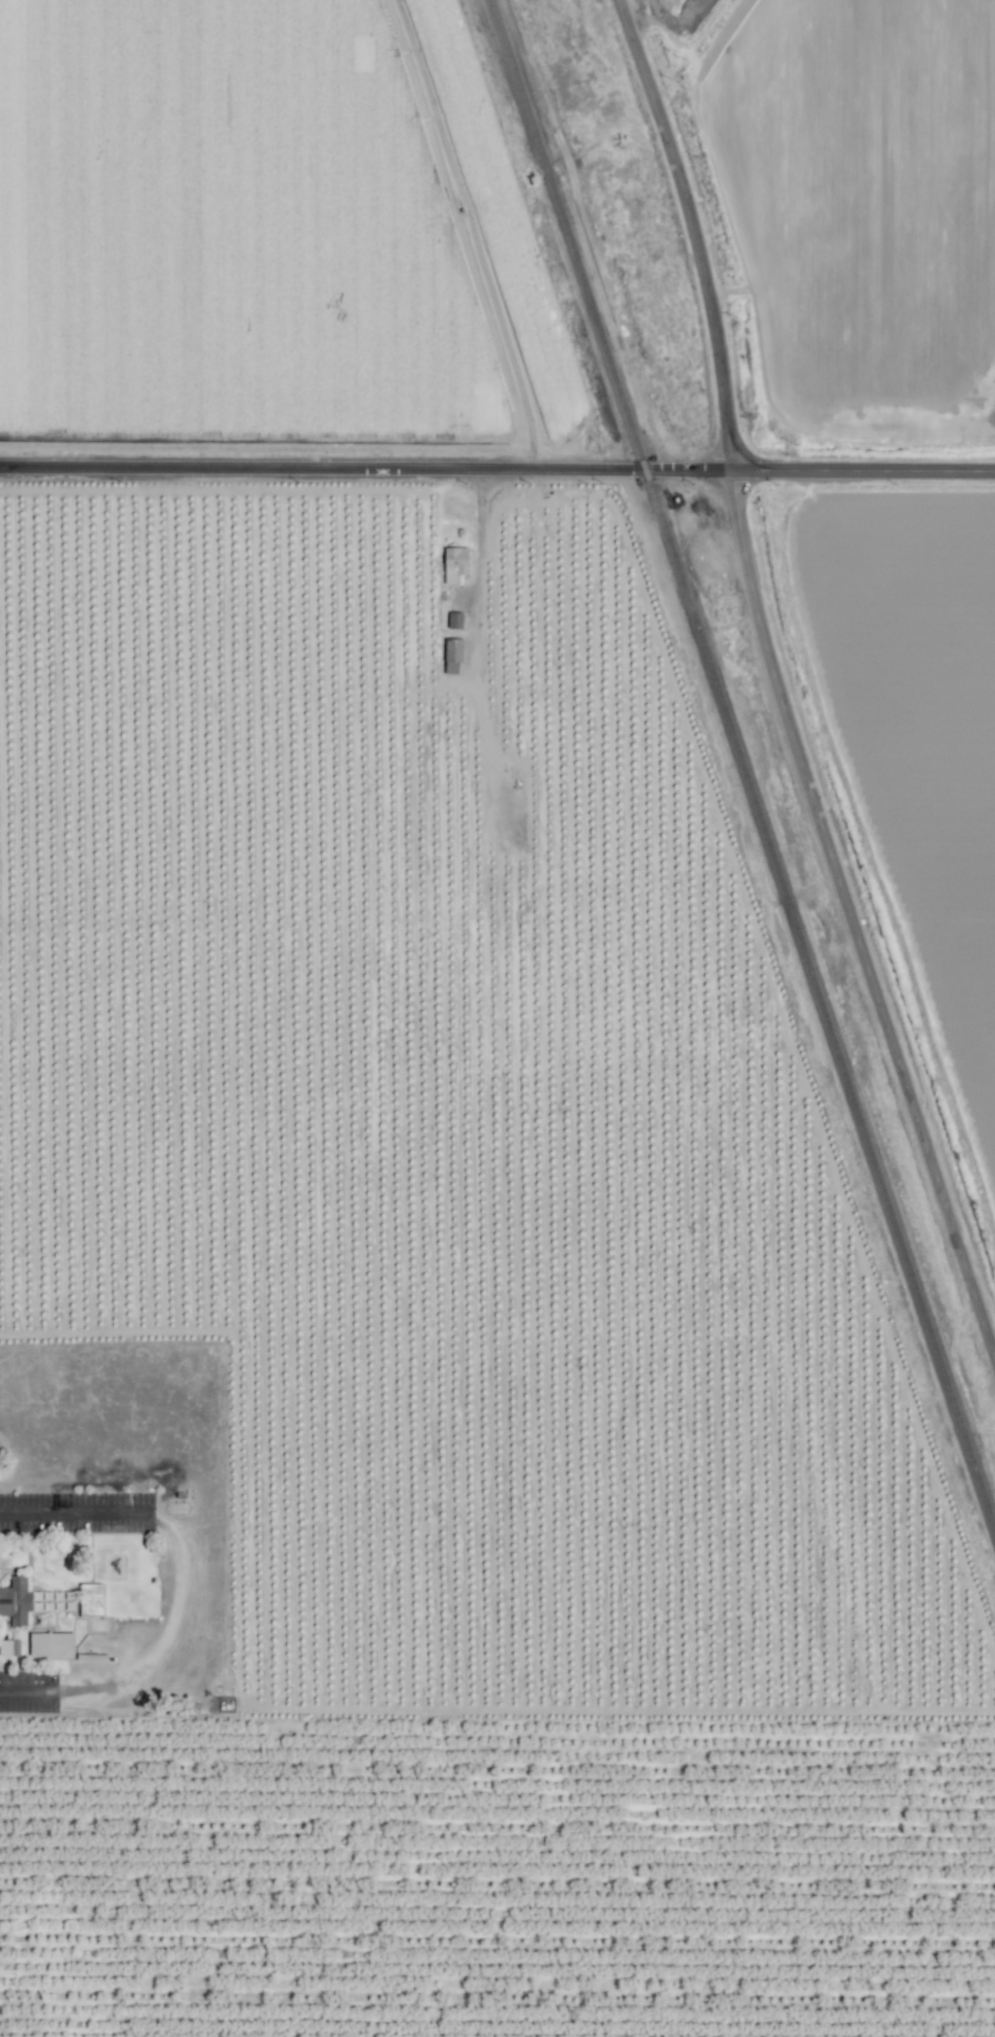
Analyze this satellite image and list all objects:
road: (497, 469)
road: (478, 557)
building: (455, 564)
building: (455, 620)
road: (780, 669)
railway: (742, 765)
crop: (407, 1152)
road: (73, 1509)
building: (16, 1600)
building: (91, 1600)
building: (51, 1645)
building: (9, 1647)
road: (23, 1689)

